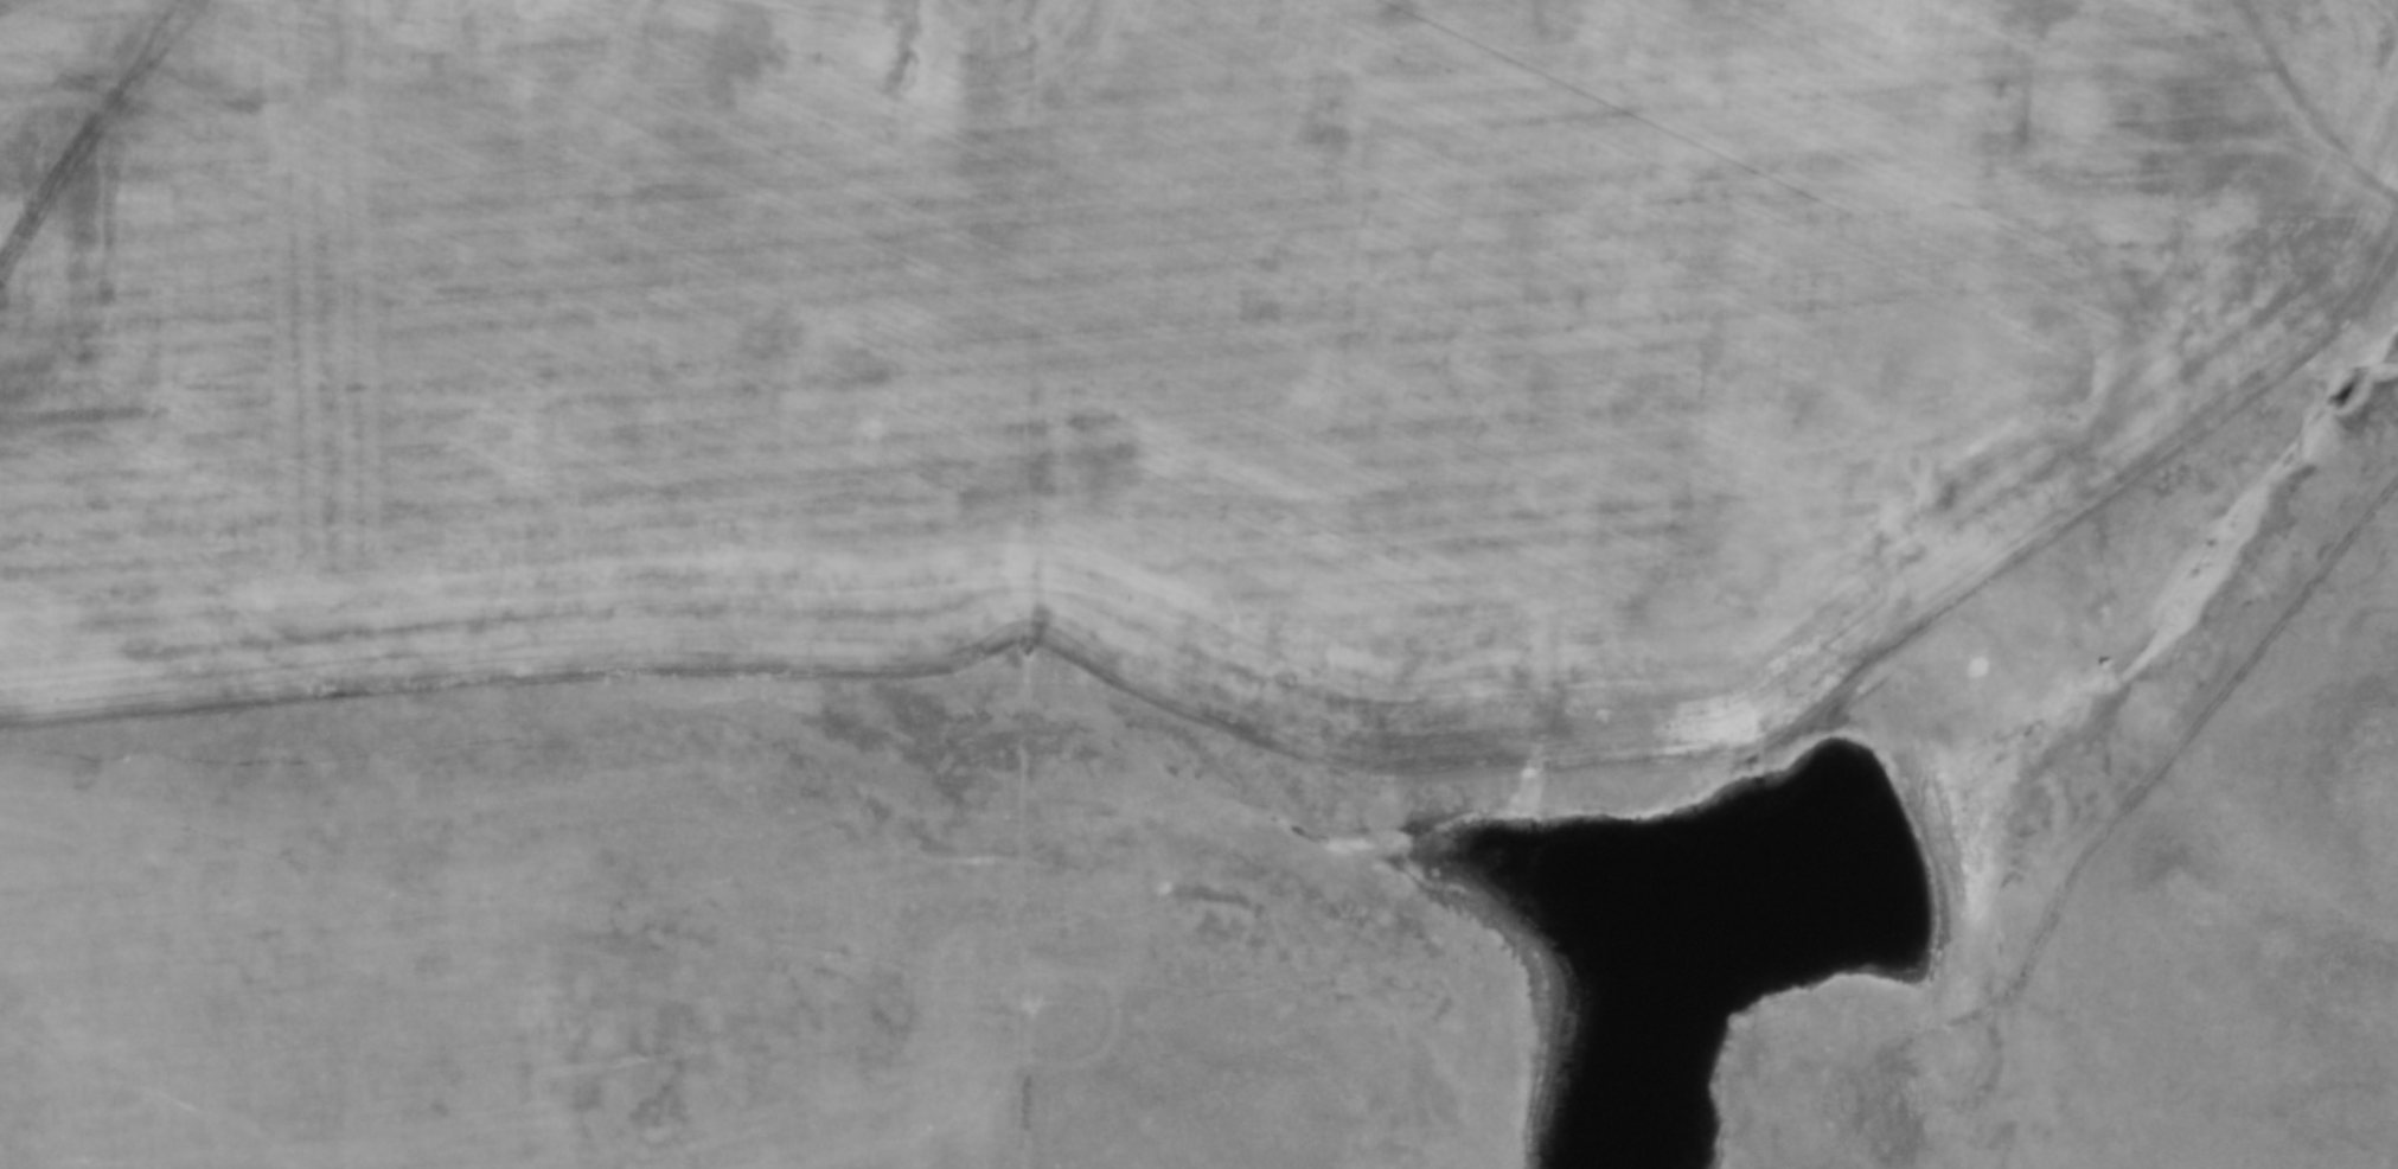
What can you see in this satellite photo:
road: (2315, 152)

